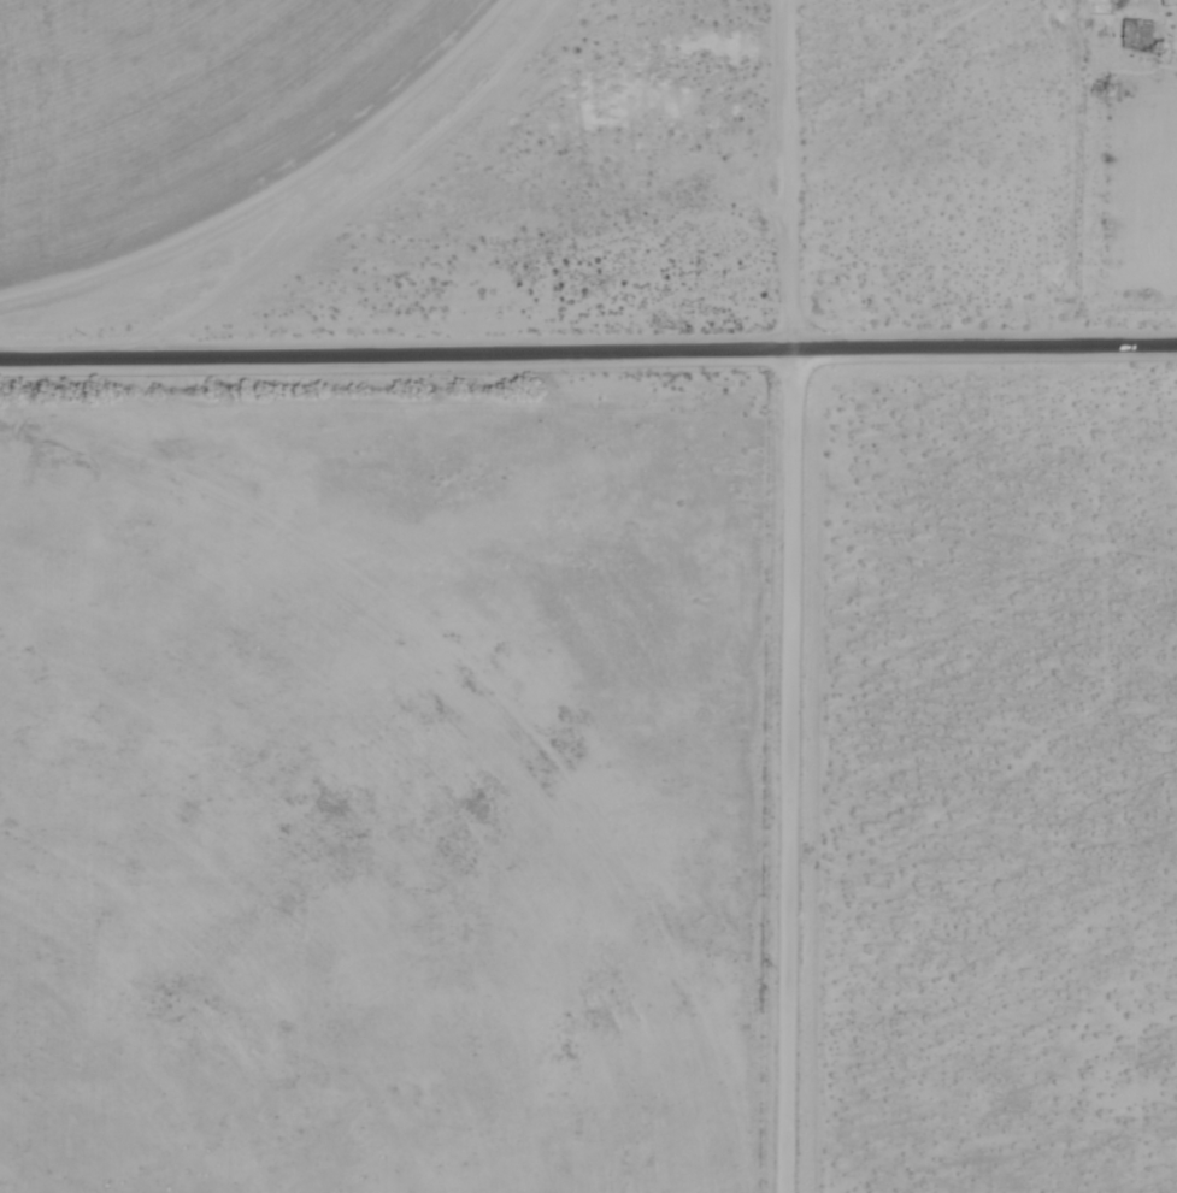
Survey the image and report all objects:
crop: (122, 64)
road: (788, 173)
road: (588, 349)
road: (783, 770)

